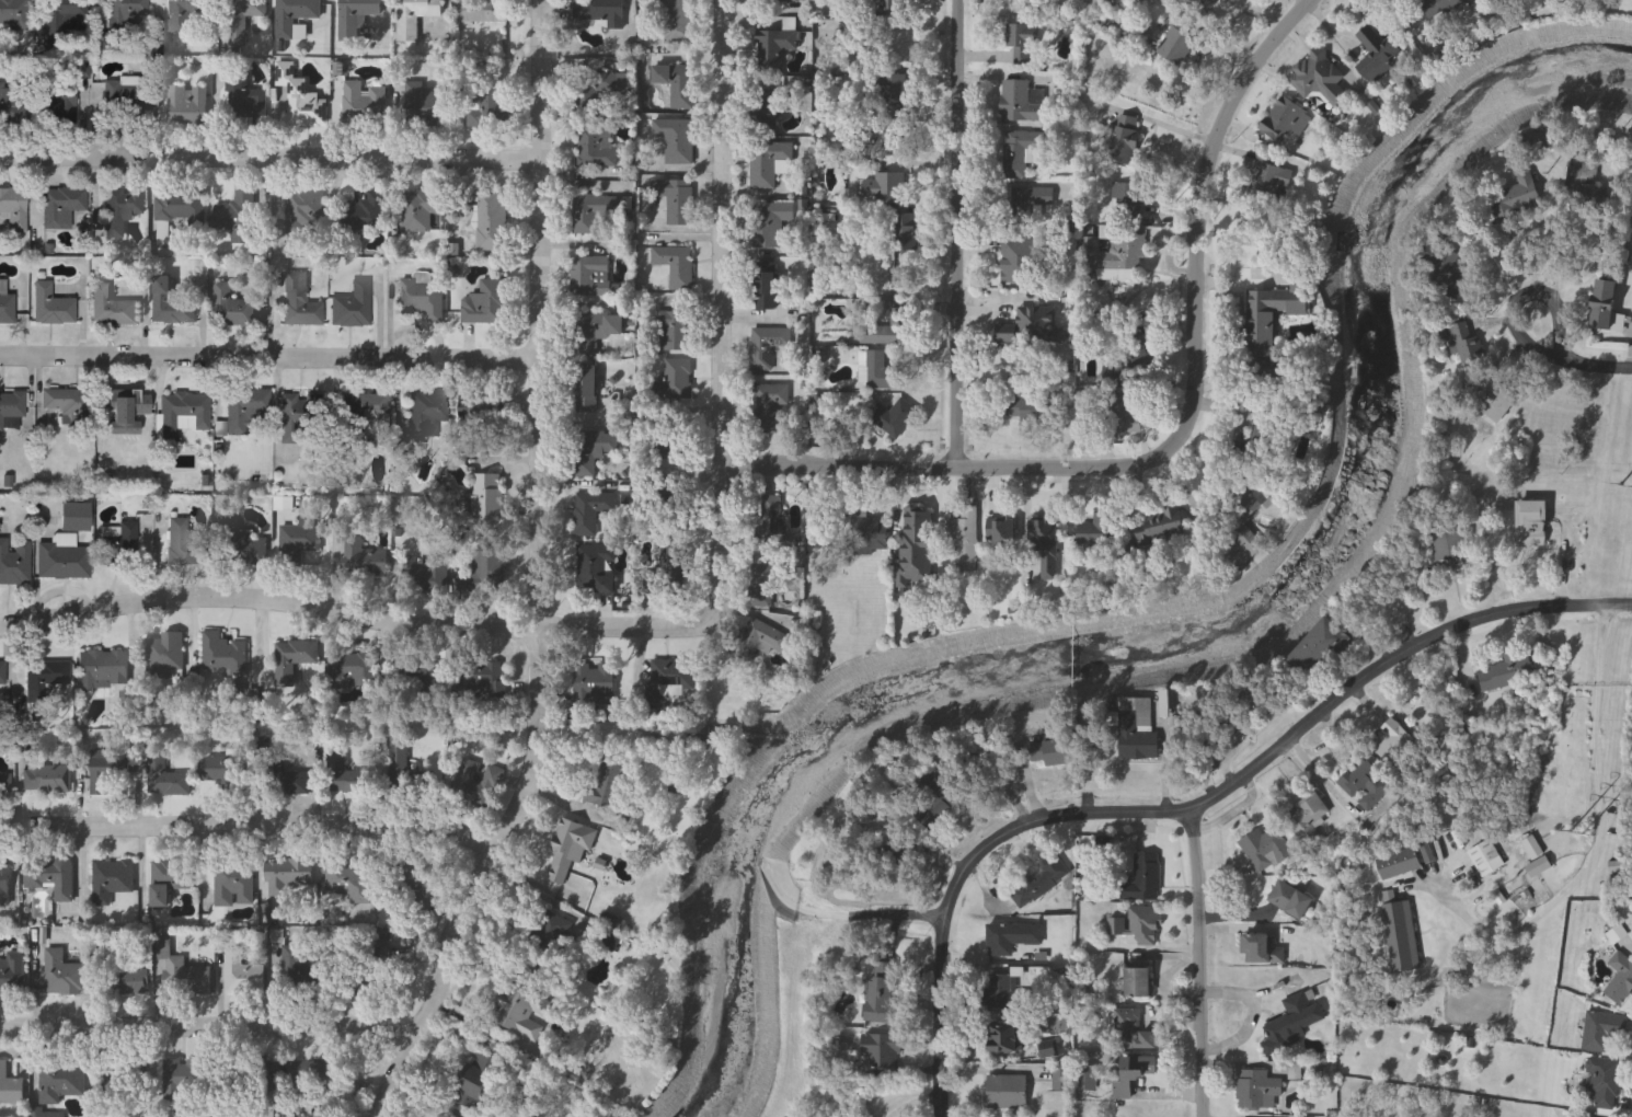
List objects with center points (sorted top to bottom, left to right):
road: (1309, 0)
building: (778, 1)
building: (1210, 3)
building: (893, 7)
building: (1445, 8)
building: (482, 12)
building: (601, 12)
building: (14, 13)
building: (125, 14)
building: (251, 14)
building: (66, 18)
building: (185, 18)
building: (414, 18)
building: (356, 19)
building: (296, 20)
building: (678, 23)
building: (1022, 42)
building: (1176, 44)
building: (774, 50)
building: (1379, 56)
building: (1321, 78)
building: (678, 87)
building: (600, 93)
building: (889, 93)
building: (300, 99)
building: (1022, 100)
building: (244, 102)
building: (10, 104)
building: (59, 104)
building: (122, 104)
building: (770, 104)
building: (364, 105)
building: (186, 106)
building: (424, 107)
building: (487, 107)
building: (1287, 118)
building: (885, 138)
building: (1126, 139)
building: (676, 140)
building: (595, 146)
building: (1021, 149)
building: (769, 163)
road: (271, 164)
building: (1584, 176)
building: (1269, 181)
building: (884, 187)
building: (1125, 196)
building: (1517, 197)
building: (677, 204)
building: (1030, 204)
building: (180, 206)
building: (13, 208)
building: (64, 209)
building: (122, 210)
building: (420, 211)
building: (594, 211)
building: (303, 212)
building: (364, 214)
building: (237, 218)
building: (491, 222)
building: (769, 224)
road: (1556, 228)
building: (905, 231)
road: (956, 244)
building: (1115, 252)
road: (1480, 252)
building: (1019, 261)
building: (675, 267)
building: (589, 277)
building: (1447, 284)
building: (766, 288)
building: (300, 299)
building: (422, 300)
building: (1606, 303)
building: (5, 304)
building: (171, 304)
building: (486, 304)
road: (713, 306)
building: (51, 307)
building: (353, 307)
building: (229, 308)
building: (111, 309)
building: (1274, 321)
building: (1033, 326)
road: (1524, 330)
building: (598, 331)
building: (674, 332)
building: (883, 333)
road: (1562, 338)
building: (1467, 343)
building: (767, 347)
road: (268, 366)
building: (1127, 366)
road: (1608, 370)
building: (884, 372)
road: (1181, 380)
building: (674, 382)
building: (586, 390)
building: (1490, 398)
building: (60, 401)
building: (843, 404)
building: (11, 406)
building: (769, 408)
building: (246, 411)
building: (366, 411)
building: (1034, 411)
building: (481, 413)
building: (427, 414)
building: (183, 416)
building: (299, 417)
building: (894, 417)
building: (1126, 418)
building: (1271, 439)
building: (590, 452)
building: (671, 476)
road: (773, 487)
power tower: (1630, 487)
building: (485, 502)
building: (590, 511)
building: (76, 518)
building: (1244, 519)
building: (772, 521)
building: (1535, 523)
building: (1158, 529)
building: (1099, 531)
building: (1003, 532)
building: (870, 533)
building: (1045, 536)
building: (965, 539)
building: (299, 542)
building: (118, 543)
building: (184, 545)
building: (917, 545)
building: (1450, 545)
building: (243, 548)
building: (1241, 561)
building: (15, 562)
building: (62, 562)
building: (368, 562)
building: (595, 568)
building: (675, 572)
building: (483, 573)
road: (553, 575)
building: (425, 577)
building: (763, 586)
road: (359, 608)
building: (759, 641)
building: (1320, 647)
building: (222, 655)
building: (165, 656)
building: (291, 661)
road: (1393, 663)
building: (102, 670)
building: (354, 670)
building: (416, 671)
building: (2, 673)
building: (1508, 675)
building: (46, 677)
building: (483, 680)
building: (594, 688)
building: (1137, 728)
building: (1393, 742)
building: (1053, 753)
building: (399, 770)
building: (220, 771)
building: (45, 776)
building: (347, 779)
building: (166, 780)
building: (110, 781)
building: (429, 783)
building: (288, 784)
building: (474, 784)
building: (1368, 784)
building: (4, 785)
building: (610, 794)
building: (1314, 820)
road: (1599, 822)
road: (252, 829)
power tower: (1577, 834)
building: (1533, 848)
building: (1268, 849)
building: (568, 851)
building: (1487, 859)
building: (1401, 864)
building: (1051, 867)
building: (1538, 867)
building: (1616, 867)
road: (965, 874)
building: (287, 876)
building: (49, 878)
building: (1143, 878)
building: (168, 880)
building: (412, 880)
building: (111, 882)
building: (344, 882)
building: (233, 885)
building: (4, 887)
building: (1631, 887)
building: (1295, 900)
building: (1138, 924)
building: (553, 936)
building: (1011, 936)
building: (1402, 936)
building: (1261, 949)
road: (1202, 964)
building: (290, 971)
building: (12, 975)
building: (61, 975)
building: (240, 975)
building: (122, 977)
building: (1619, 978)
building: (187, 980)
building: (1139, 982)
building: (1004, 988)
building: (883, 994)
building: (520, 1012)
road: (1257, 1015)
building: (1292, 1022)
road: (206, 1029)
building: (1133, 1030)
building: (1601, 1032)
building: (1007, 1038)
building: (883, 1050)
building: (317, 1072)
building: (1133, 1073)
building: (180, 1078)
building: (59, 1081)
building: (476, 1081)
building: (1604, 1082)
building: (1259, 1089)
building: (10, 1090)
building: (1007, 1091)
building: (439, 1116)

